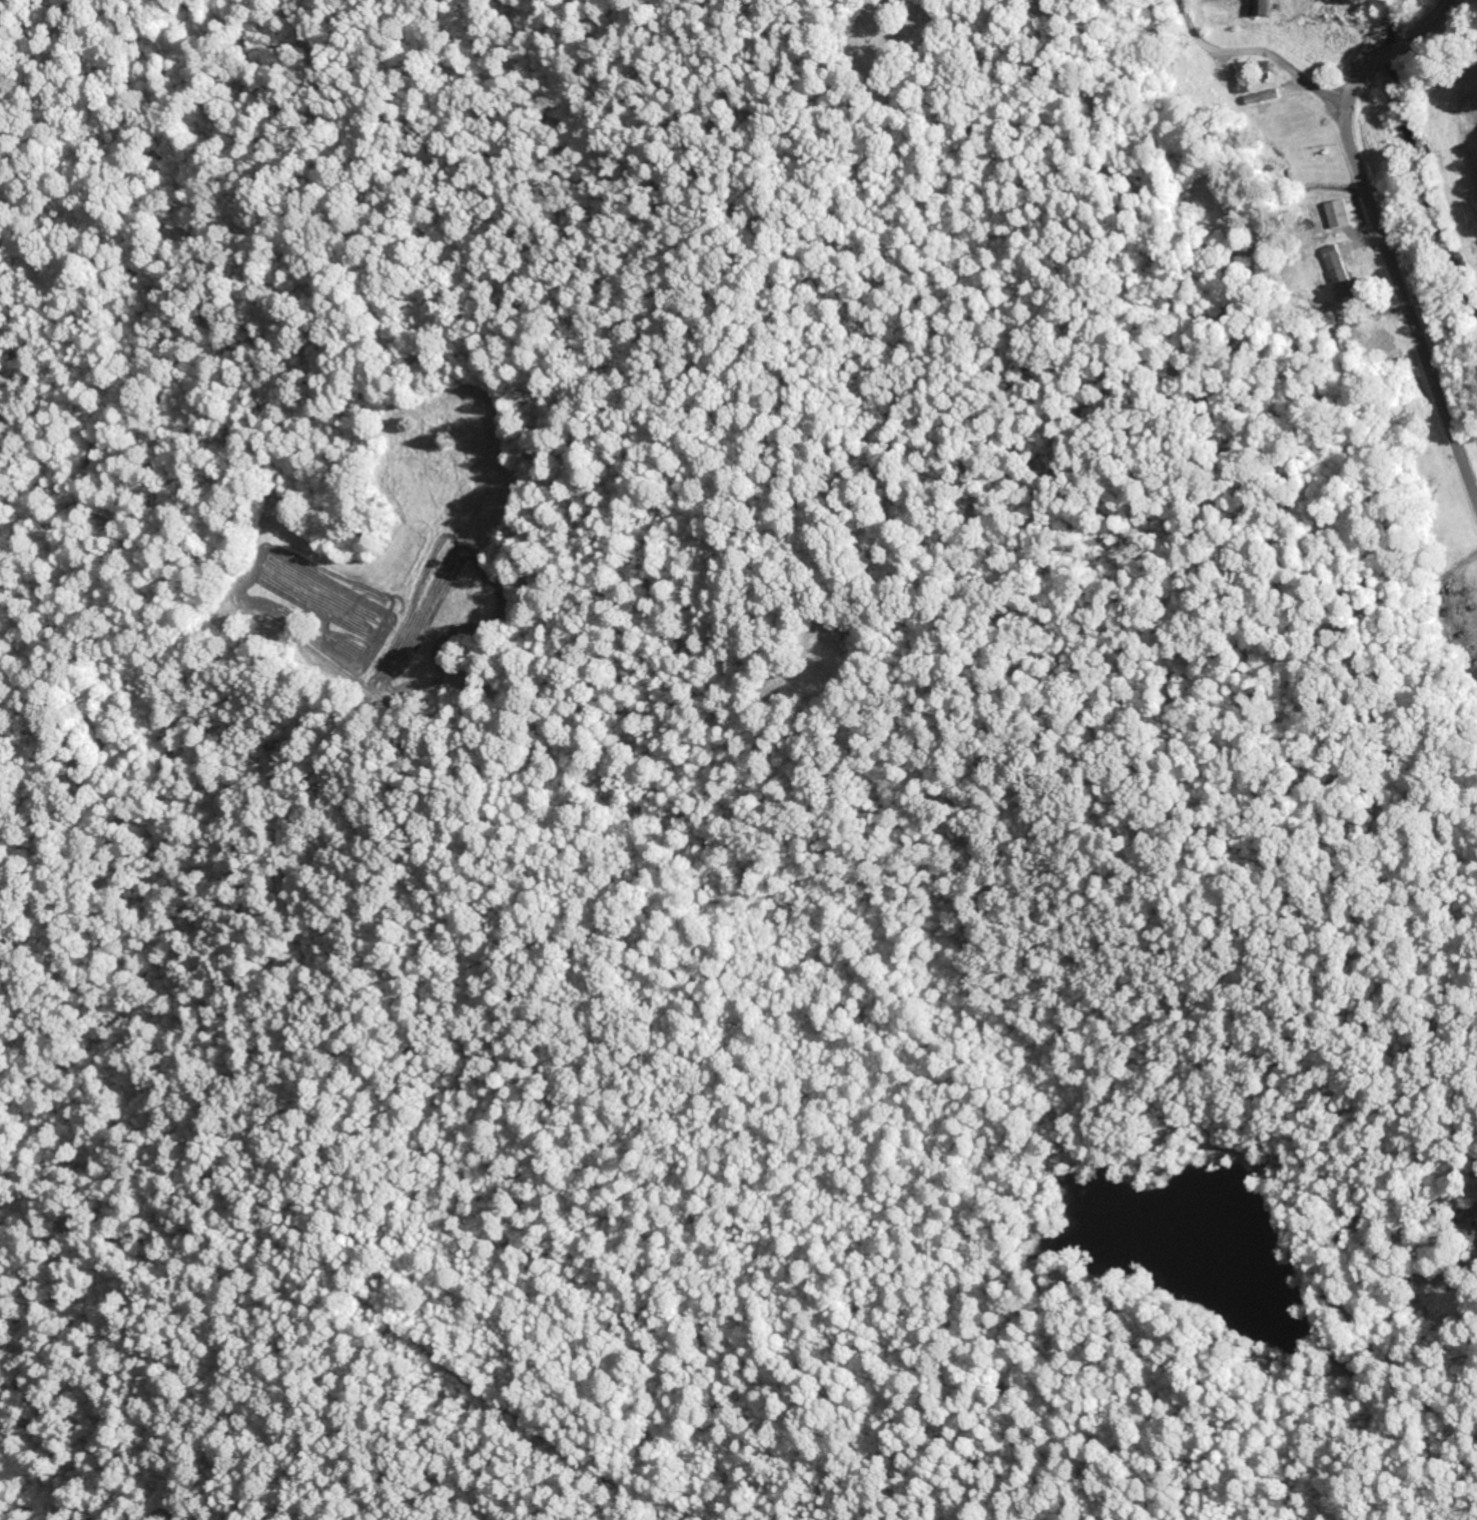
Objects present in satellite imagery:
road: (1433, 26)
road: (1390, 55)
building: (1340, 213)
building: (1341, 271)
road: (1398, 279)

